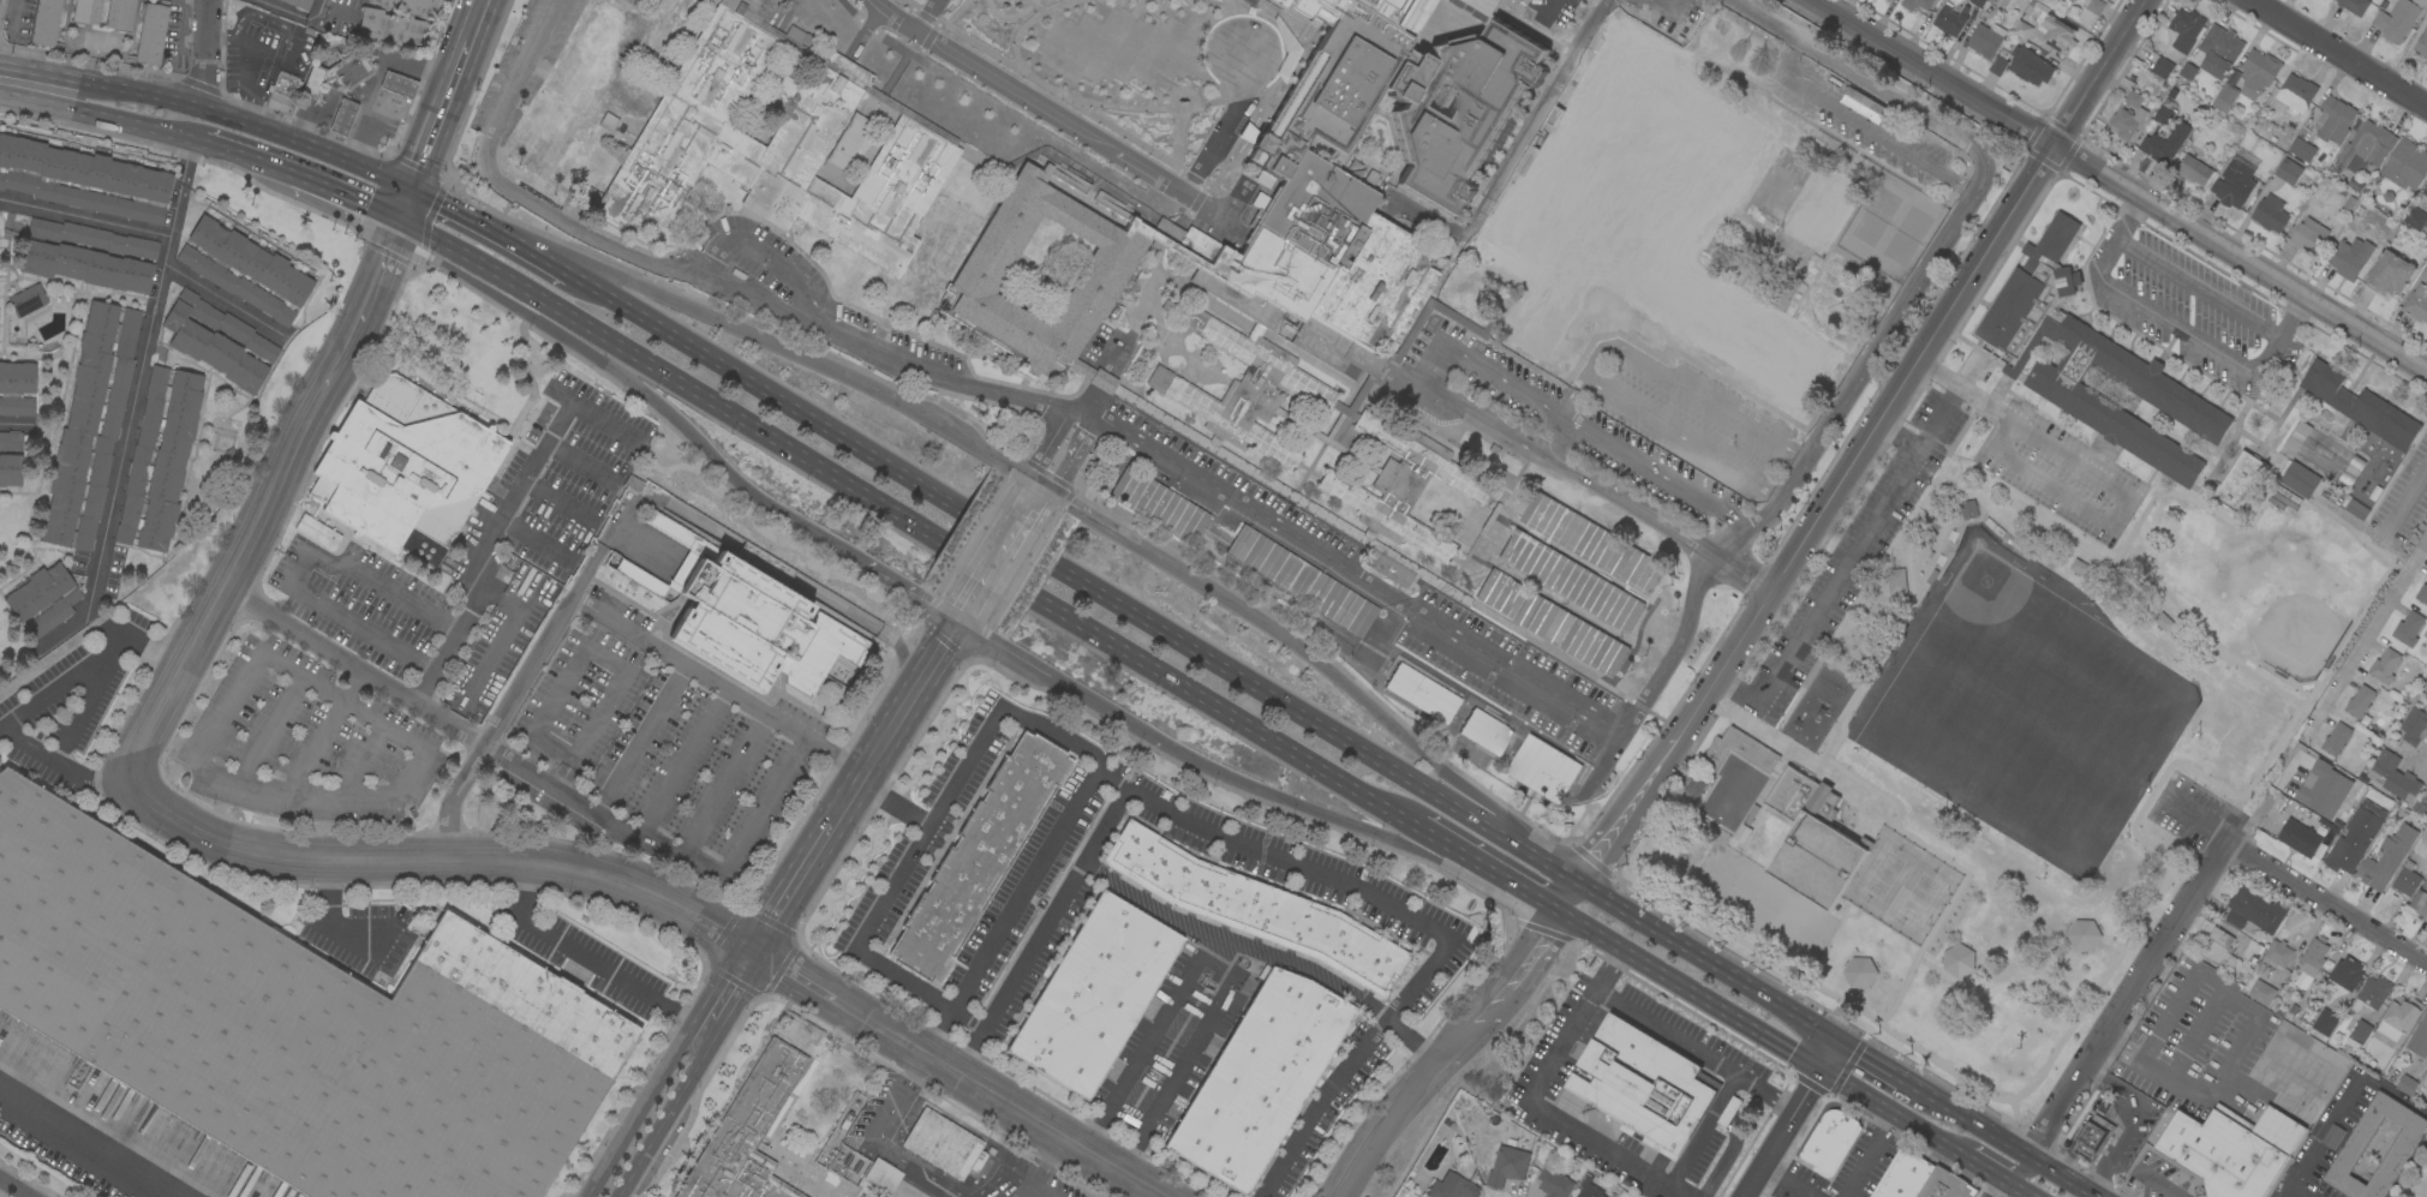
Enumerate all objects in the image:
building: (1214, 0)
road: (1657, 0)
building: (1977, 2)
building: (2001, 2)
building: (2067, 2)
building: (299, 4)
building: (1917, 4)
building: (1483, 5)
building: (2354, 6)
building: (1309, 8)
building: (86, 11)
building: (2091, 12)
road: (293, 13)
building: (1389, 13)
building: (120, 14)
road: (897, 14)
road: (928, 14)
road: (480, 16)
building: (674, 16)
building: (1661, 19)
building: (1950, 19)
building: (2397, 19)
parking lot: (17, 20)
building: (396, 20)
building: (46, 22)
road: (866, 29)
building: (2021, 29)
building: (2184, 29)
building: (151, 32)
building: (2057, 32)
parking lot: (175, 37)
building: (1985, 40)
building: (2421, 46)
building: (1732, 47)
parking lot: (252, 49)
building: (2219, 50)
road: (2339, 52)
road: (211, 56)
building: (952, 62)
building: (1998, 62)
building: (2030, 65)
building: (2162, 66)
building: (349, 68)
building: (2259, 70)
building: (2188, 71)
building: (1156, 73)
building: (313, 80)
road: (516, 80)
road: (1864, 80)
building: (395, 83)
road: (32, 86)
building: (281, 90)
gas station: (358, 91)
building: (2295, 94)
building: (2224, 96)
building: (2133, 98)
road: (443, 109)
road: (1840, 112)
building: (954, 113)
building: (342, 114)
building: (2162, 115)
building: (2333, 120)
road: (133, 121)
building: (610, 121)
road: (241, 122)
building: (2127, 122)
building: (1000, 133)
building: (2165, 143)
building: (2366, 146)
building: (2302, 149)
road: (1511, 151)
building: (996, 152)
road: (246, 156)
road: (1122, 156)
building: (2407, 164)
building: (2194, 166)
building: (2288, 172)
building: (83, 180)
road: (1951, 181)
building: (2234, 182)
building: (2354, 184)
road: (180, 186)
road: (2120, 187)
traffic signals: (412, 188)
building: (2425, 191)
road: (345, 193)
building: (2387, 196)
building: (2349, 203)
building: (1823, 207)
building: (958, 213)
building: (2270, 214)
traffic signals: (402, 216)
road: (85, 219)
road: (471, 219)
building: (2415, 219)
building: (2309, 237)
road: (448, 244)
building: (89, 256)
road: (764, 257)
building: (2350, 257)
building: (245, 270)
road: (377, 270)
building: (2390, 273)
building: (2423, 274)
road: (2198, 287)
road: (1957, 297)
building: (28, 300)
road: (222, 301)
building: (2416, 303)
road: (704, 312)
road: (2172, 325)
building: (1742, 333)
building: (219, 341)
road: (1877, 346)
road: (1591, 358)
building: (2091, 361)
road: (1489, 371)
building: (17, 388)
road: (1576, 397)
road: (659, 406)
building: (2360, 406)
road: (1088, 412)
road: (1489, 421)
road: (14, 425)
building: (91, 425)
parking lot: (651, 426)
road: (126, 429)
road: (960, 435)
road: (1086, 435)
building: (2297, 436)
road: (1897, 438)
building: (11, 441)
road: (1561, 441)
road: (1047, 447)
building: (160, 457)
road: (580, 460)
building: (2351, 468)
building: (10, 469)
building: (405, 469)
road: (1661, 473)
road: (1062, 475)
building: (2300, 479)
building: (2238, 481)
building: (634, 483)
road: (2109, 486)
road: (1041, 492)
road: (560, 497)
road: (2405, 497)
building: (1967, 509)
building: (2356, 509)
road: (1020, 525)
road: (1663, 525)
building: (315, 532)
road: (1120, 532)
road: (536, 539)
building: (1591, 543)
road: (955, 549)
road: (1032, 552)
parking lot: (1852, 552)
road: (1845, 564)
road: (994, 565)
road: (502, 576)
building: (1296, 579)
building: (1570, 580)
road: (891, 582)
park: (1985, 585)
road: (1400, 589)
building: (2422, 594)
building: (43, 599)
road: (972, 602)
road: (432, 614)
building: (751, 614)
road: (2372, 627)
building: (2408, 628)
building: (1658, 635)
road: (2199, 638)
park: (2291, 639)
road: (645, 641)
road: (1679, 641)
road: (492, 646)
road: (446, 648)
road: (1010, 653)
road: (598, 654)
road: (1817, 658)
road: (88, 662)
road: (353, 665)
building: (2384, 666)
parking lot: (491, 686)
building: (2425, 687)
building: (1421, 693)
road: (86, 696)
road: (1795, 698)
road: (910, 699)
building: (2359, 701)
road: (1373, 707)
park: (2010, 718)
building: (2413, 725)
road: (267, 730)
building: (1484, 731)
road: (1676, 738)
road: (640, 740)
building: (2336, 740)
road: (311, 747)
building: (1738, 750)
park: (1998, 752)
road: (1803, 756)
road: (360, 759)
road: (681, 762)
road: (65, 767)
building: (1542, 768)
road: (1113, 777)
building: (2393, 777)
road: (1771, 778)
road: (238, 784)
building: (2306, 784)
road: (722, 785)
building: (1692, 786)
road: (1265, 791)
building: (2426, 791)
road: (142, 792)
road: (1763, 792)
road: (453, 795)
road: (2240, 796)
road: (896, 798)
road: (848, 801)
parking lot: (2187, 809)
road: (2195, 815)
road: (1214, 828)
building: (2299, 837)
building: (1812, 839)
building: (2353, 840)
road: (1451, 848)
road: (670, 851)
building: (979, 856)
building: (2386, 857)
road: (1556, 870)
road: (1495, 874)
park: (1884, 874)
building: (2407, 880)
road: (794, 887)
road: (1543, 888)
road: (1021, 894)
road: (1532, 897)
park: (1919, 897)
building: (2420, 900)
road: (2325, 903)
park: (1762, 904)
building: (1254, 908)
road: (686, 909)
building: (2253, 911)
road: (1235, 945)
road: (1752, 947)
building: (2219, 948)
road: (1217, 950)
building: (2252, 951)
building: (2277, 953)
building: (2313, 957)
road: (1705, 963)
road: (1606, 971)
building: (2264, 971)
building: (2345, 972)
road: (802, 976)
road: (1516, 976)
road: (617, 977)
road: (1688, 990)
building: (2313, 990)
building: (2261, 993)
road: (725, 994)
building: (2371, 994)
building: (1093, 995)
road: (2126, 1000)
road: (2255, 1012)
building: (2398, 1017)
building: (2325, 1022)
building: (294, 1024)
building: (2360, 1031)
road: (1663, 1034)
building: (2419, 1039)
road: (1142, 1041)
parking lot: (2198, 1045)
road: (2121, 1048)
road: (1825, 1054)
road: (1182, 1061)
road: (1875, 1066)
building: (1259, 1078)
building: (2405, 1084)
building: (1642, 1085)
road: (1806, 1089)
road: (1857, 1091)
road: (1764, 1093)
road: (1323, 1096)
road: (1004, 1101)
building: (2426, 1105)
road: (1542, 1111)
road: (1398, 1112)
building: (1728, 1112)
road: (638, 1113)
road: (665, 1119)
road: (2132, 1119)
road: (1702, 1131)
building: (747, 1132)
road: (1929, 1135)
building: (2332, 1136)
parking lot: (2325, 1137)
building: (2092, 1138)
road: (2317, 1141)
building: (1830, 1142)
road: (85, 1143)
road: (875, 1143)
building: (943, 1143)
road: (2003, 1144)
building: (2231, 1149)
building: (2351, 1150)
building: (862, 1151)
road: (1768, 1153)
road: (1870, 1156)
building: (843, 1163)
road: (1044, 1167)
building: (1507, 1167)
road: (1986, 1168)
building: (883, 1175)
building: (1903, 1175)
road: (1011, 1177)
road: (2147, 1178)
building: (1559, 1180)
road: (1786, 1181)
building: (1945, 1185)
road: (16, 1186)
road: (1993, 1186)
building: (1452, 1187)
building: (1588, 1187)
road: (2021, 1190)
road: (1675, 1192)
building: (1544, 1196)

